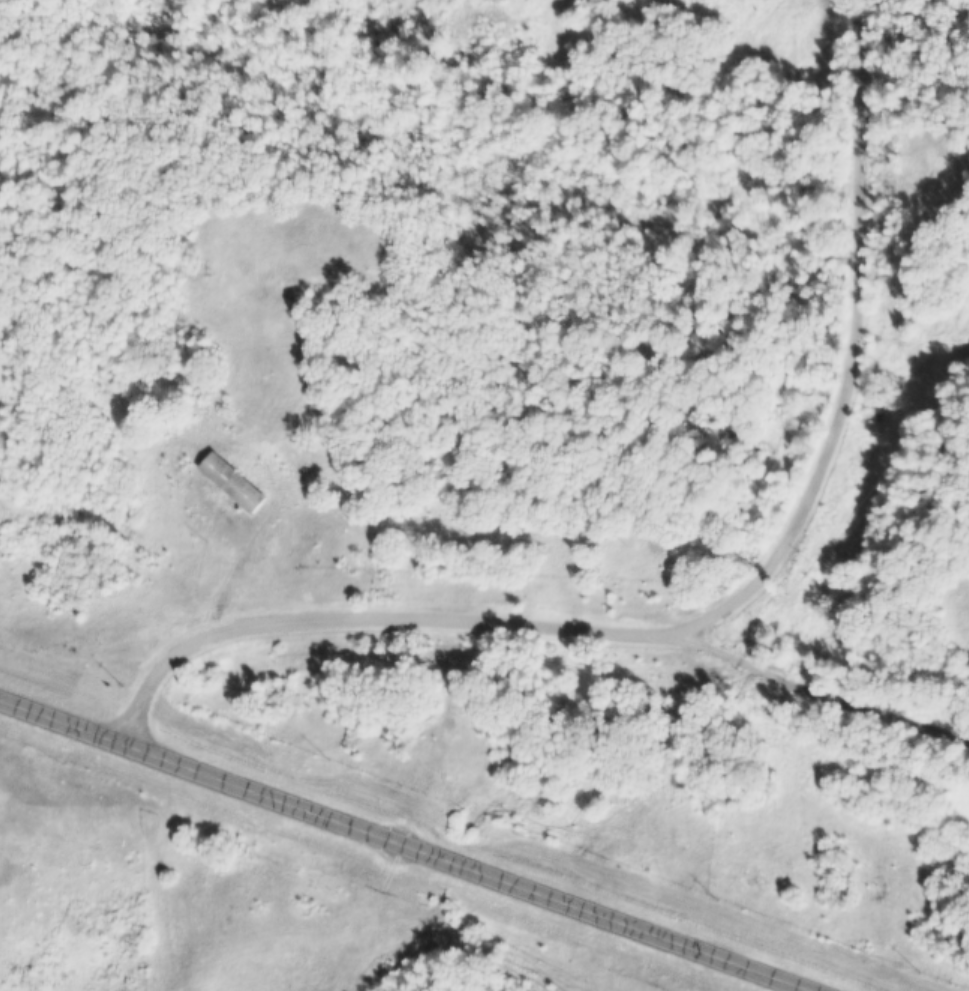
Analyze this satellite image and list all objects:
building: (229, 483)
road: (714, 610)
road: (820, 687)
road: (409, 843)

